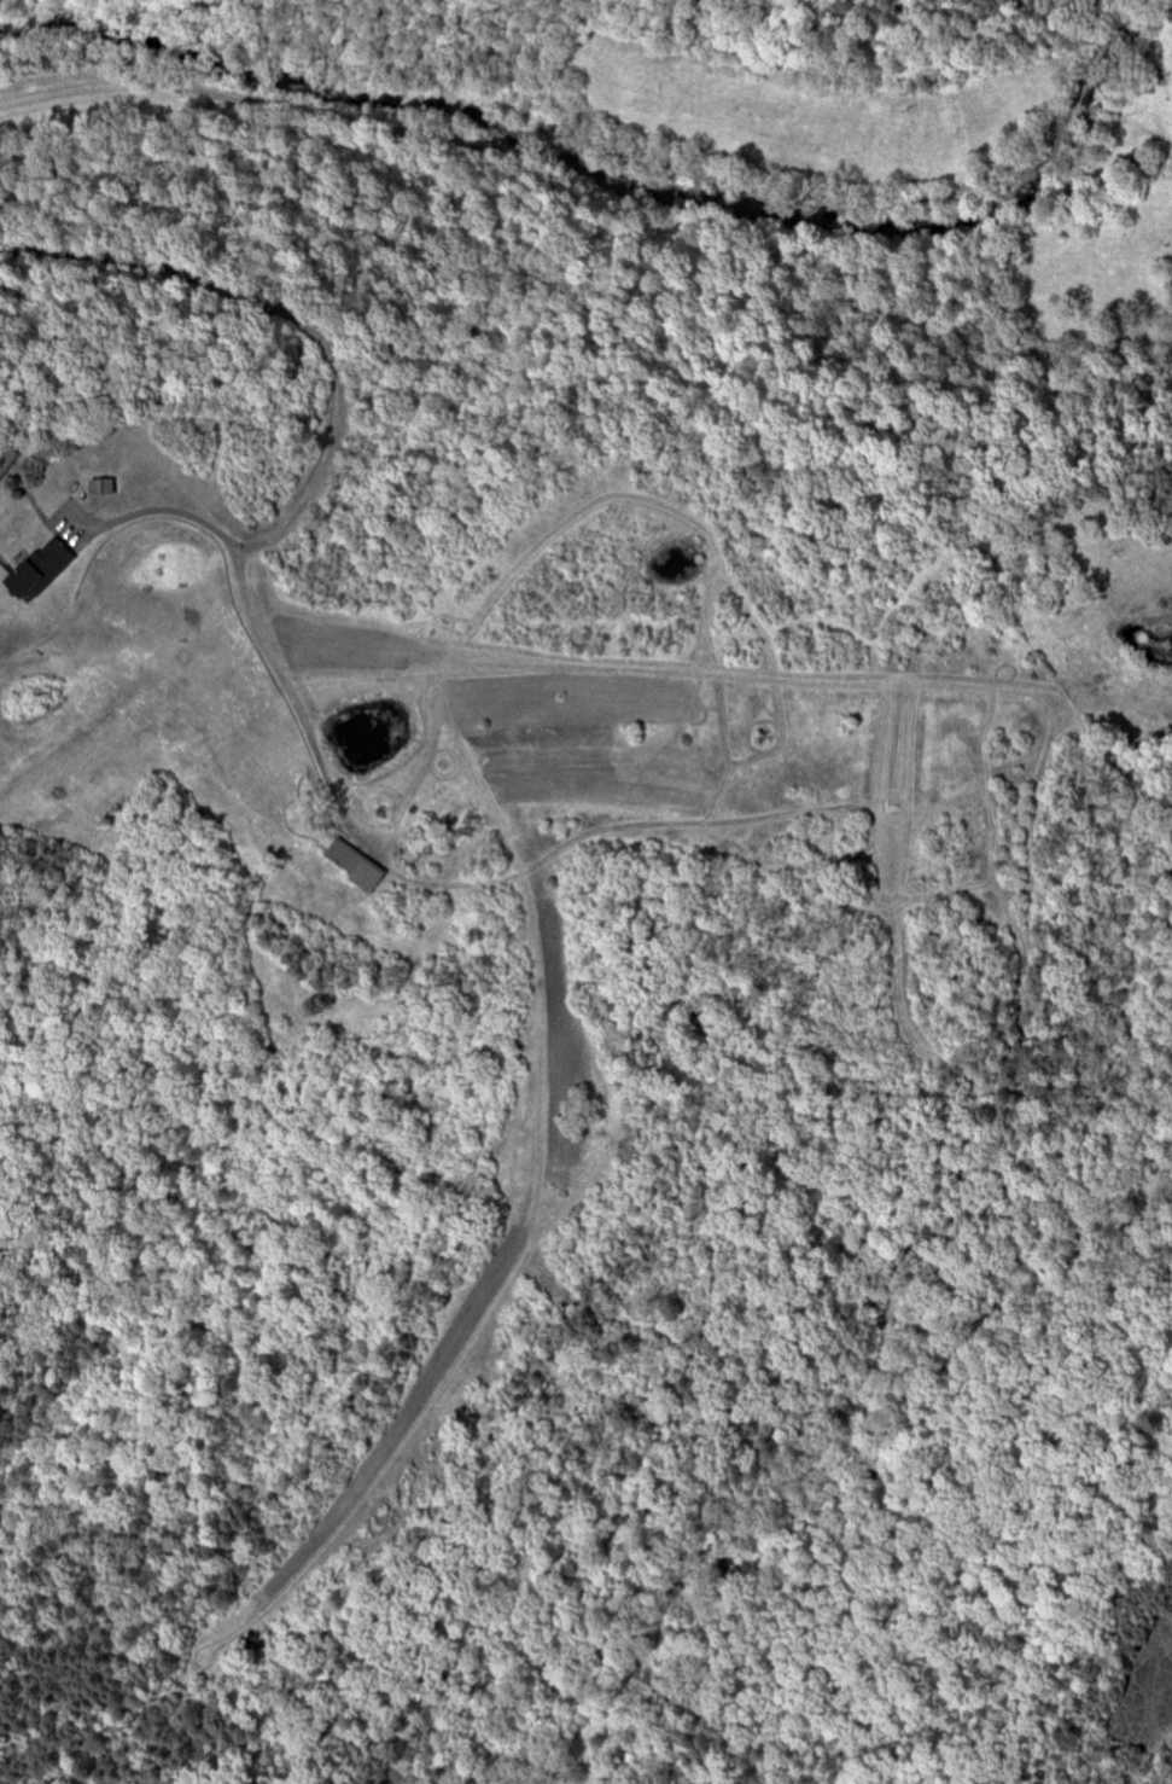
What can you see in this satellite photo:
road: (611, 150)
road: (333, 457)
building: (8, 461)
road: (174, 511)
building: (42, 571)
building: (357, 865)

